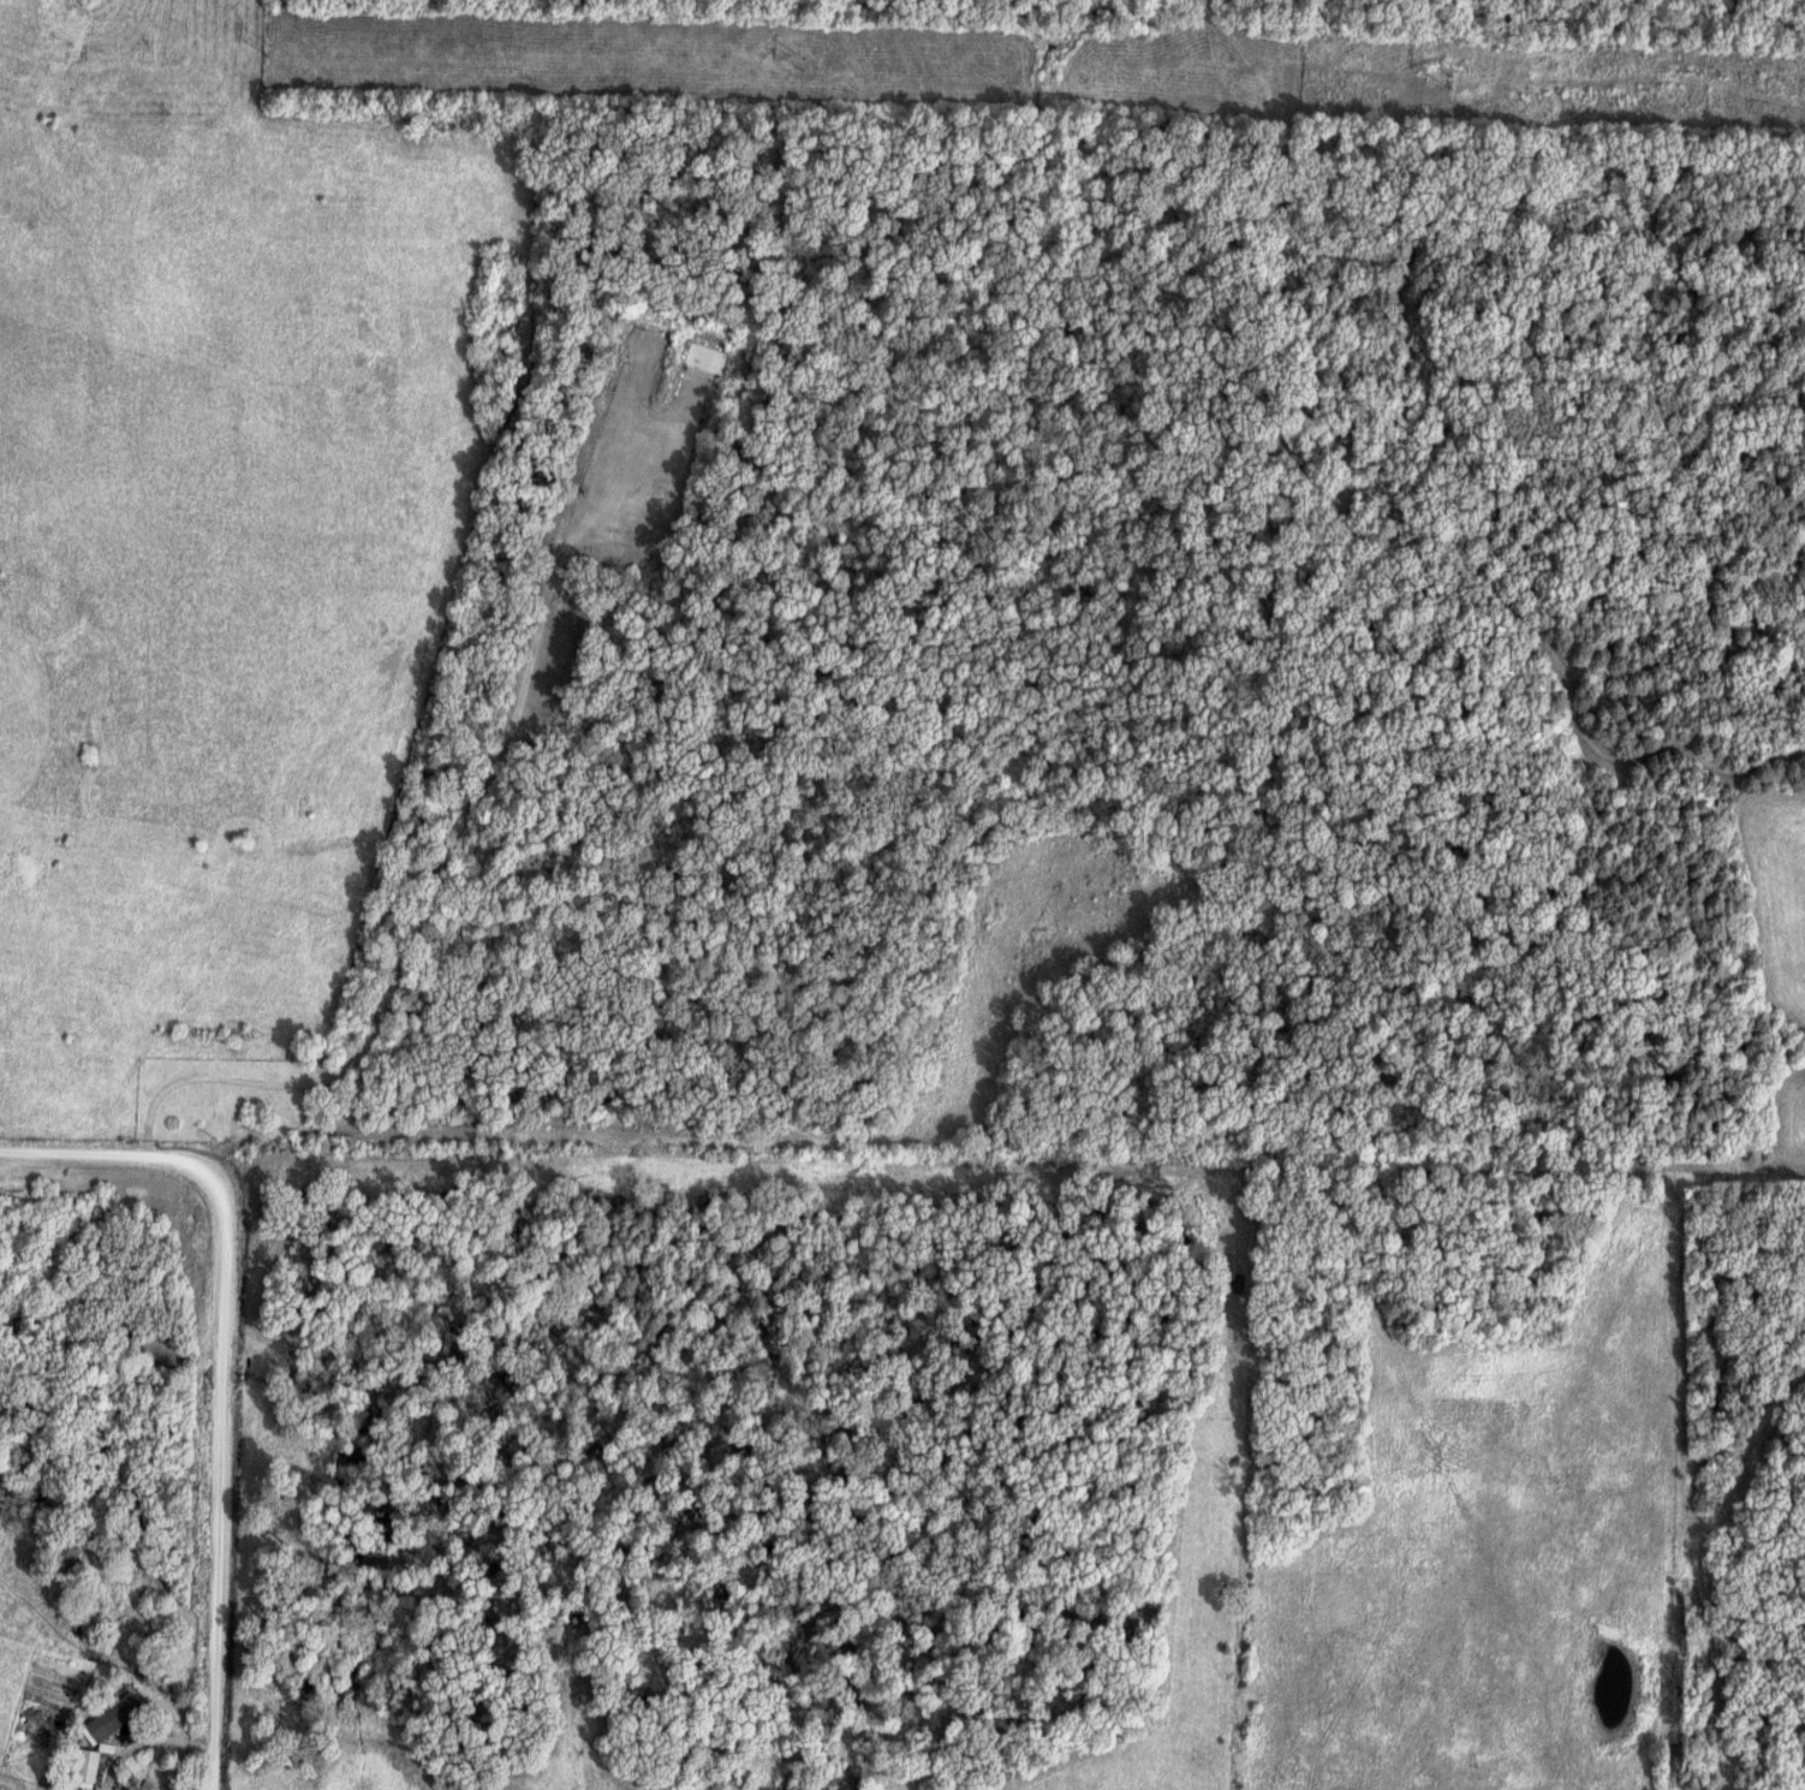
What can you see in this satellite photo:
power tower: (272, 52)
power tower: (803, 66)
power tower: (1449, 81)
road: (232, 1255)
road: (1687, 1545)
road: (221, 1684)
building: (118, 1715)
road: (132, 1746)
building: (88, 1766)

